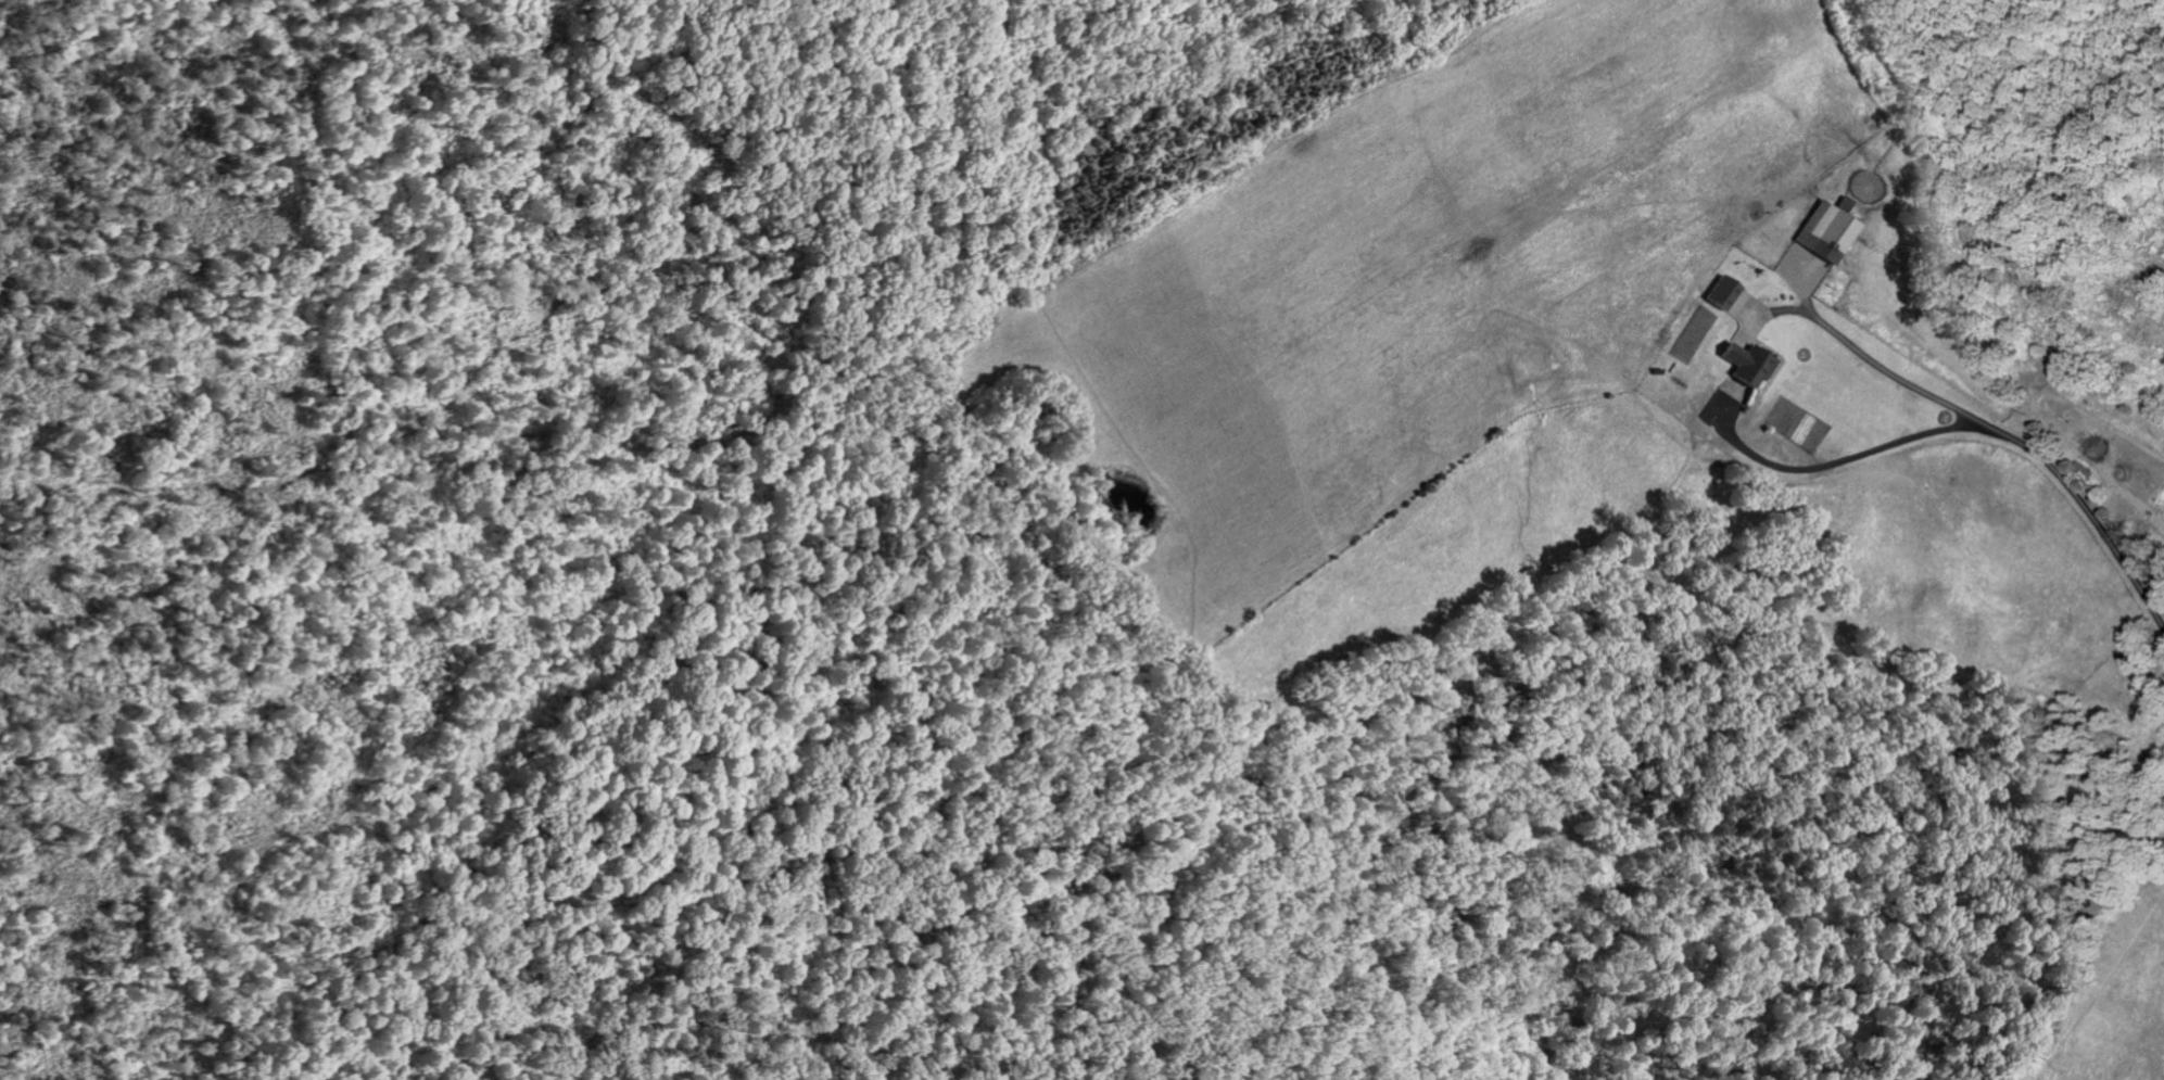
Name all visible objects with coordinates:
building: (1827, 231)
building: (1723, 293)
building: (1749, 365)

